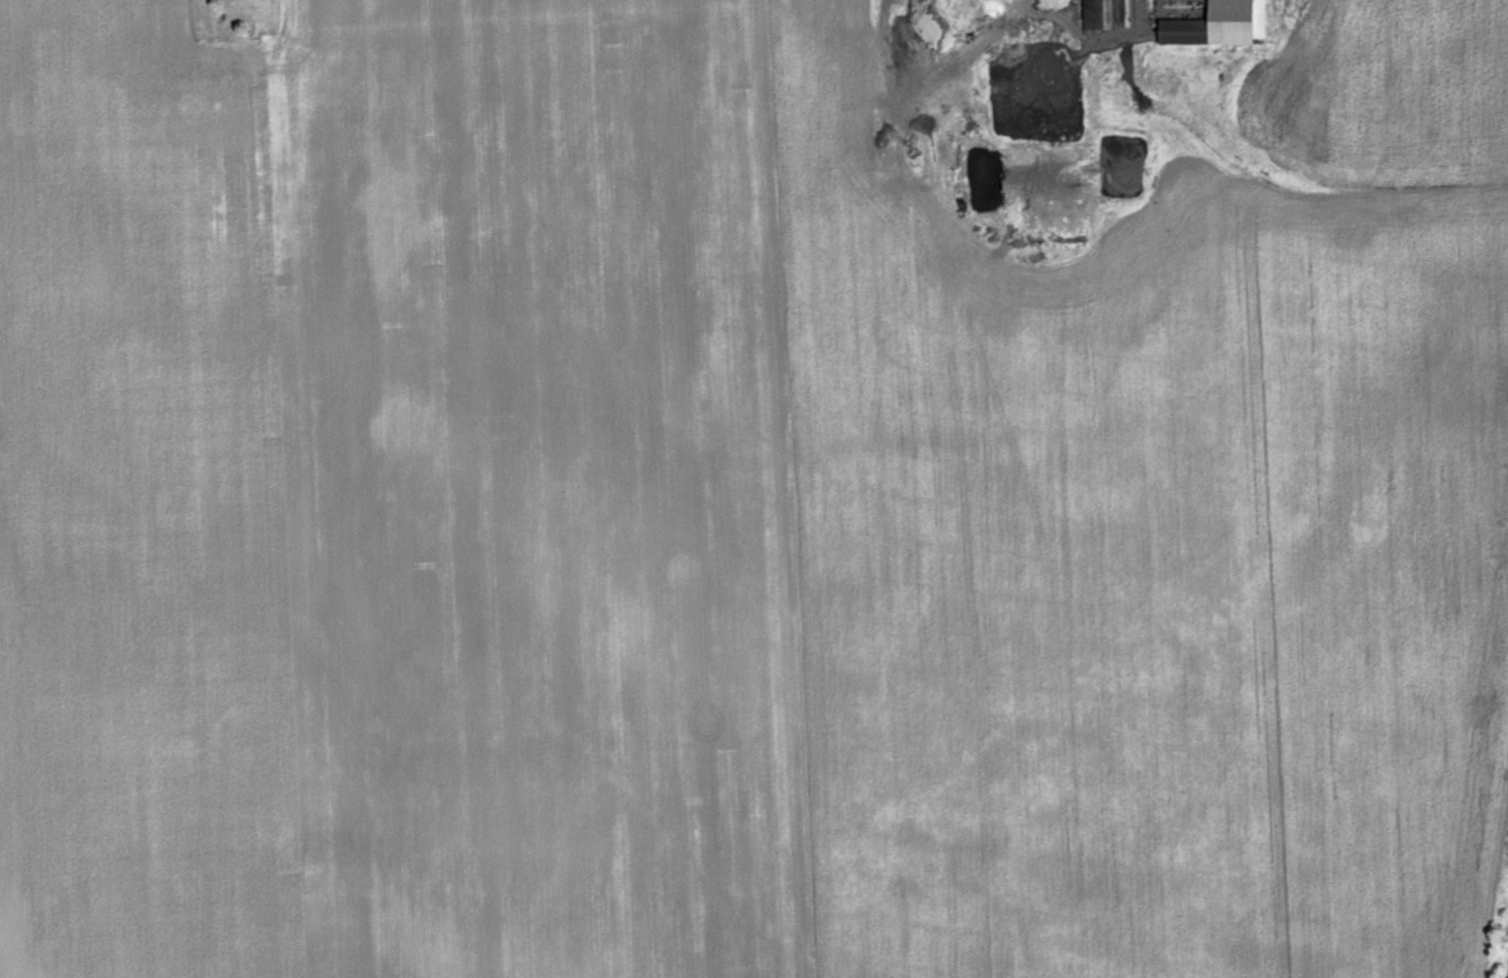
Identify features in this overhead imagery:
building: (1099, 14)
building: (1179, 32)

